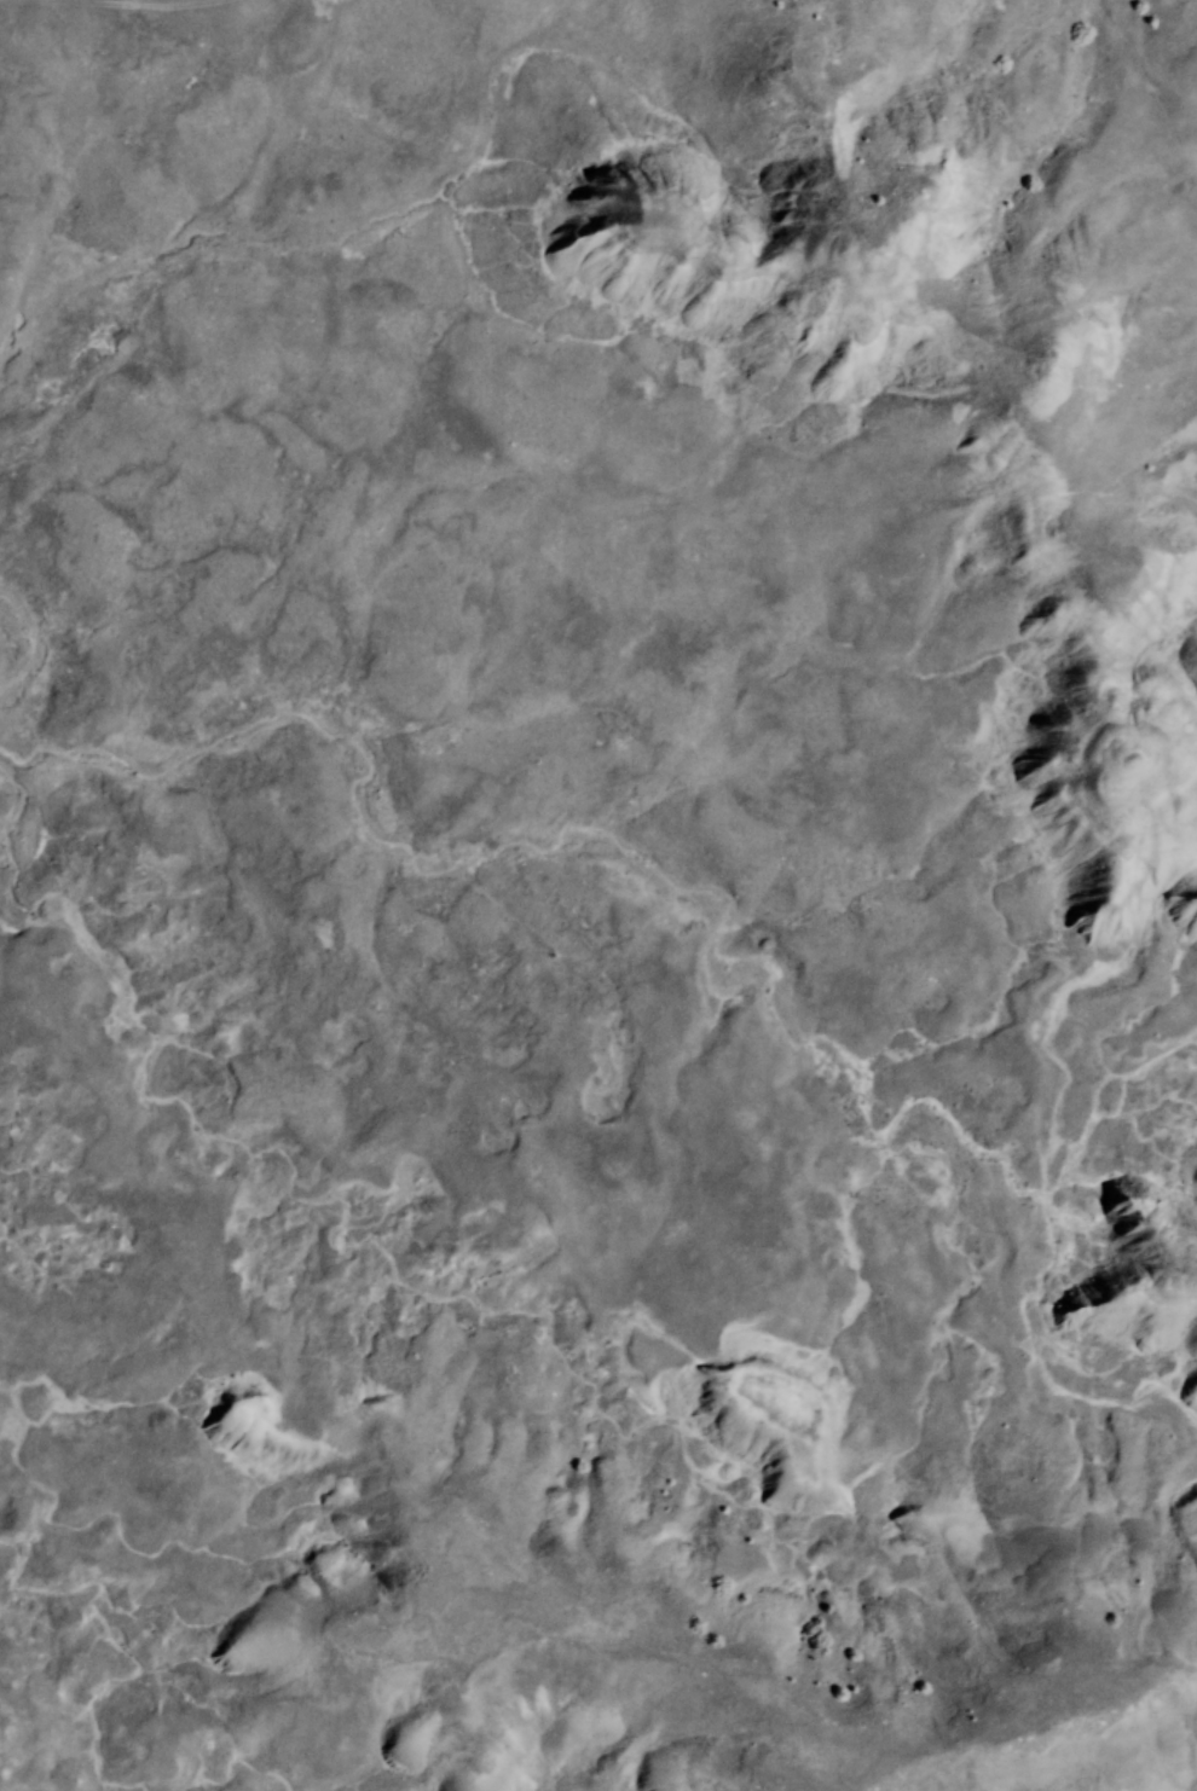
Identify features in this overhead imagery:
road: (104, 2)
road: (1155, 98)

